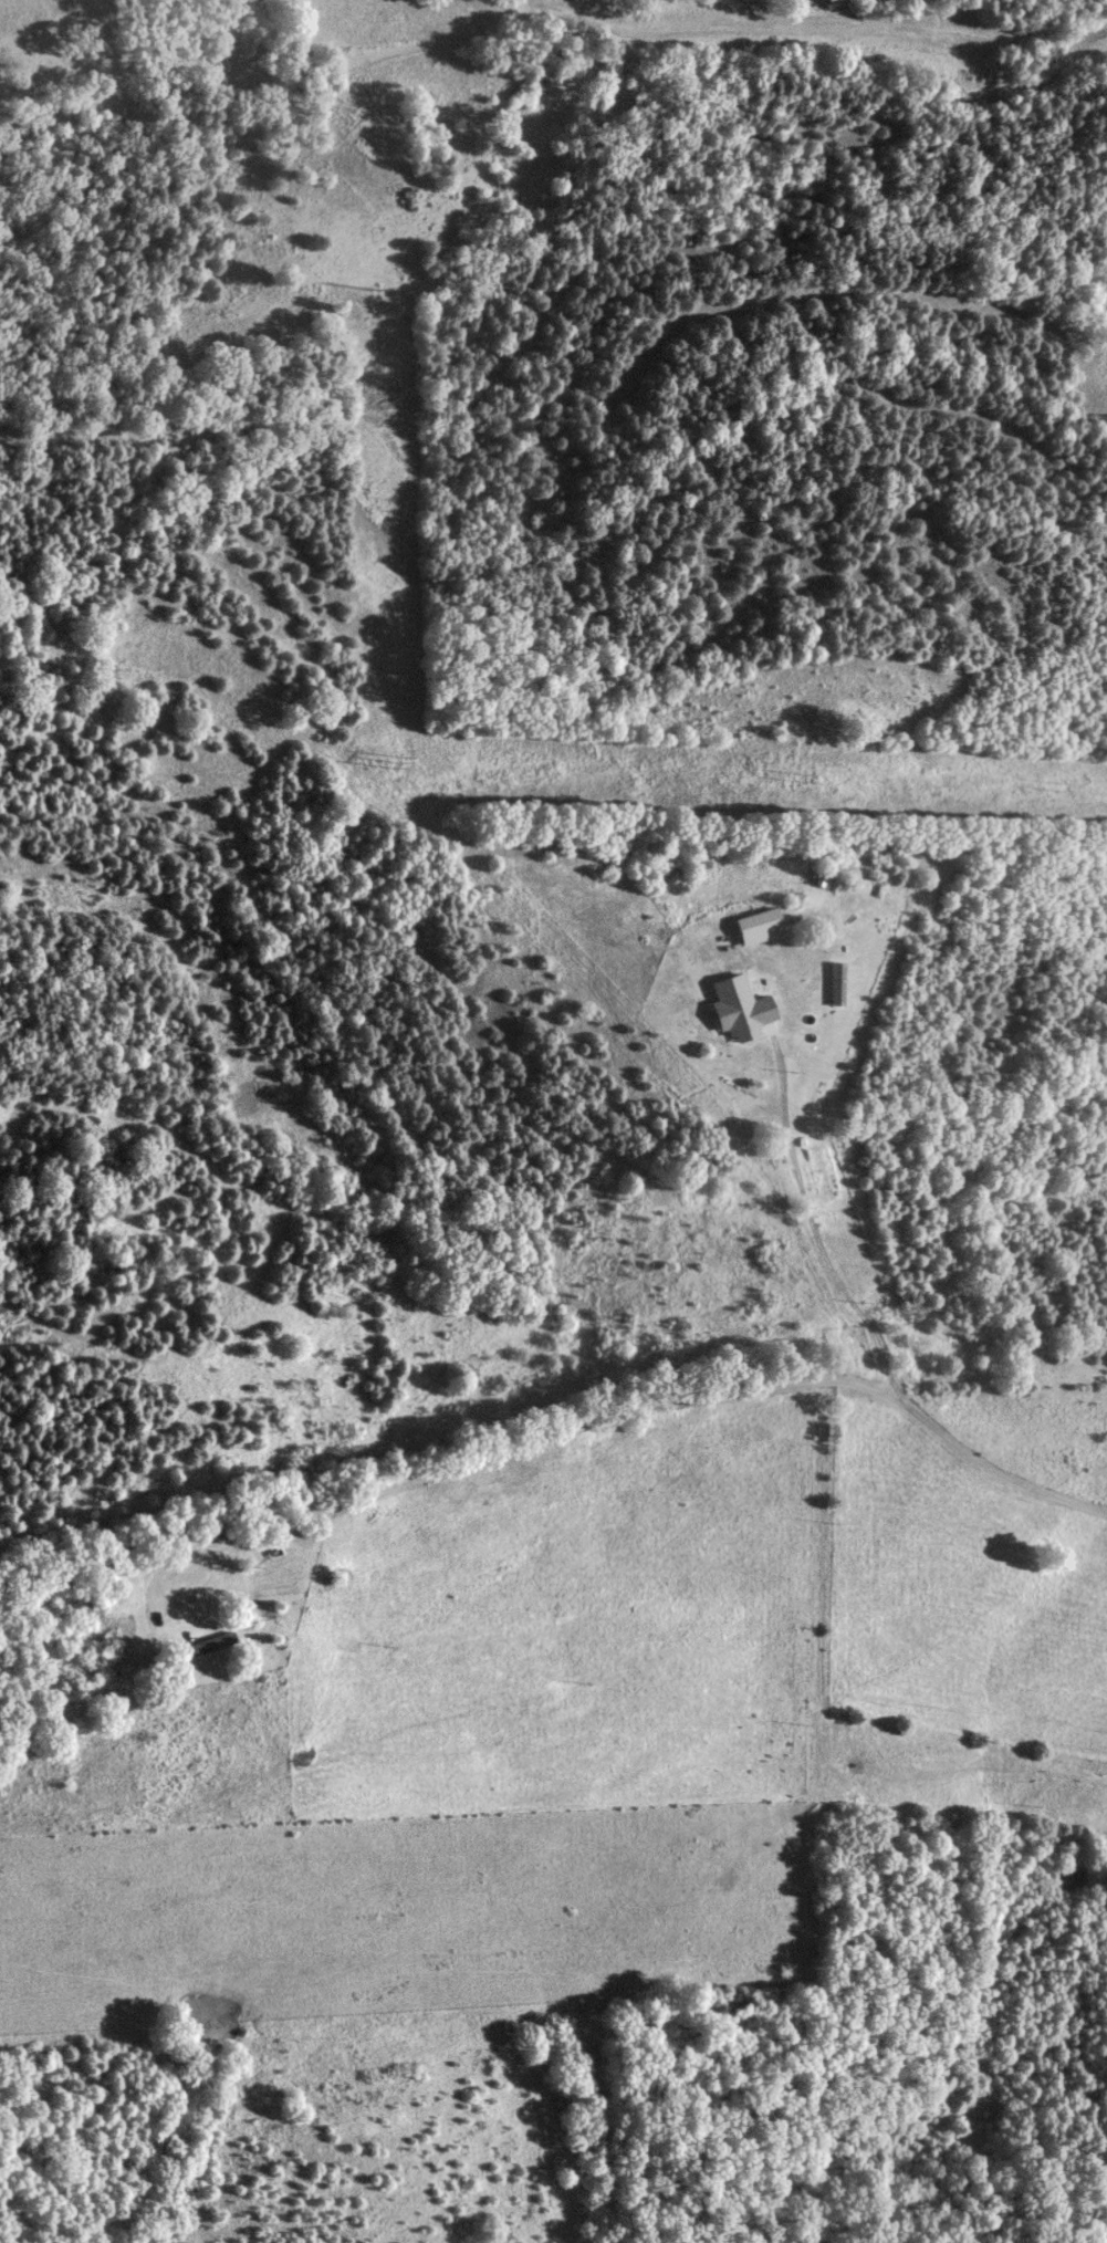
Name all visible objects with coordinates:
power tower: (380, 291)
power tower: (404, 759)
building: (754, 927)
building: (833, 983)
building: (735, 1008)
road: (143, 1229)
road: (501, 1300)
building: (202, 1647)

